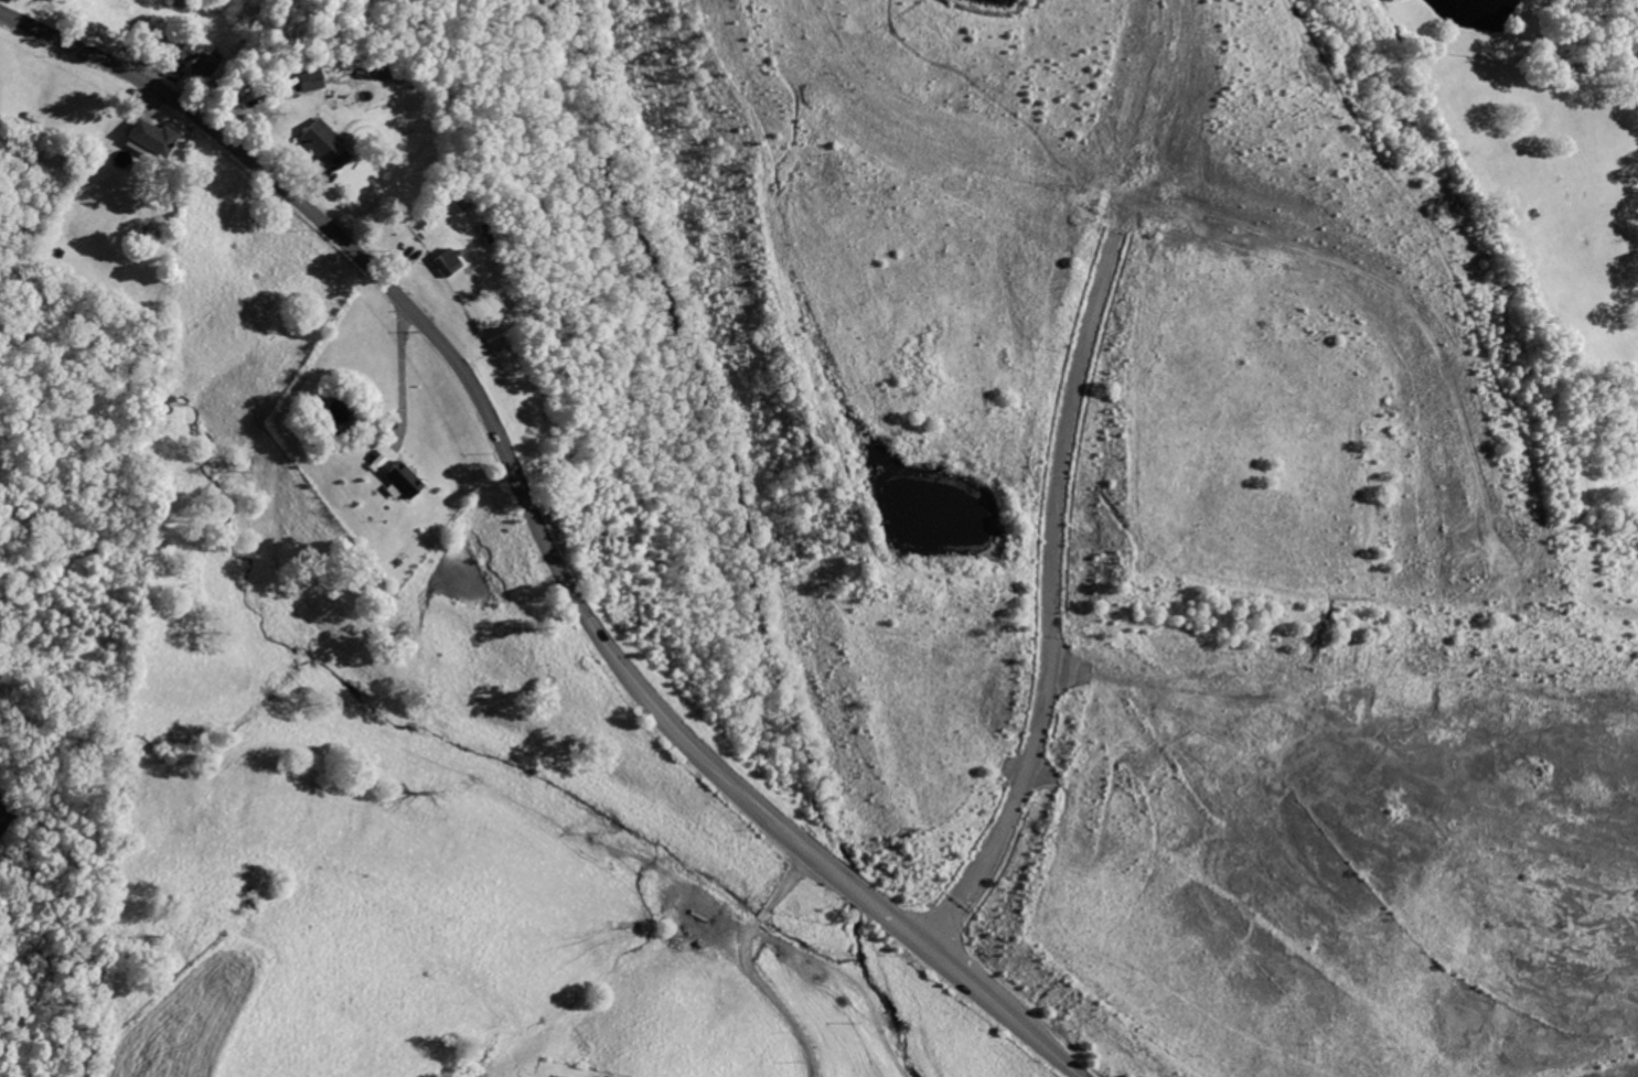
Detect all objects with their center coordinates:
building: (193, 55)
building: (307, 79)
road: (1160, 99)
road: (932, 134)
building: (150, 138)
building: (318, 138)
building: (340, 159)
road: (1124, 214)
building: (445, 261)
road: (1396, 291)
road: (450, 360)
road: (402, 374)
building: (403, 478)
road: (1051, 601)
road: (1071, 669)
road: (1030, 771)
road: (807, 852)
road: (784, 876)
road: (848, 885)
road: (760, 911)
road: (890, 919)
road: (960, 974)
road: (770, 994)
road: (1040, 1040)

